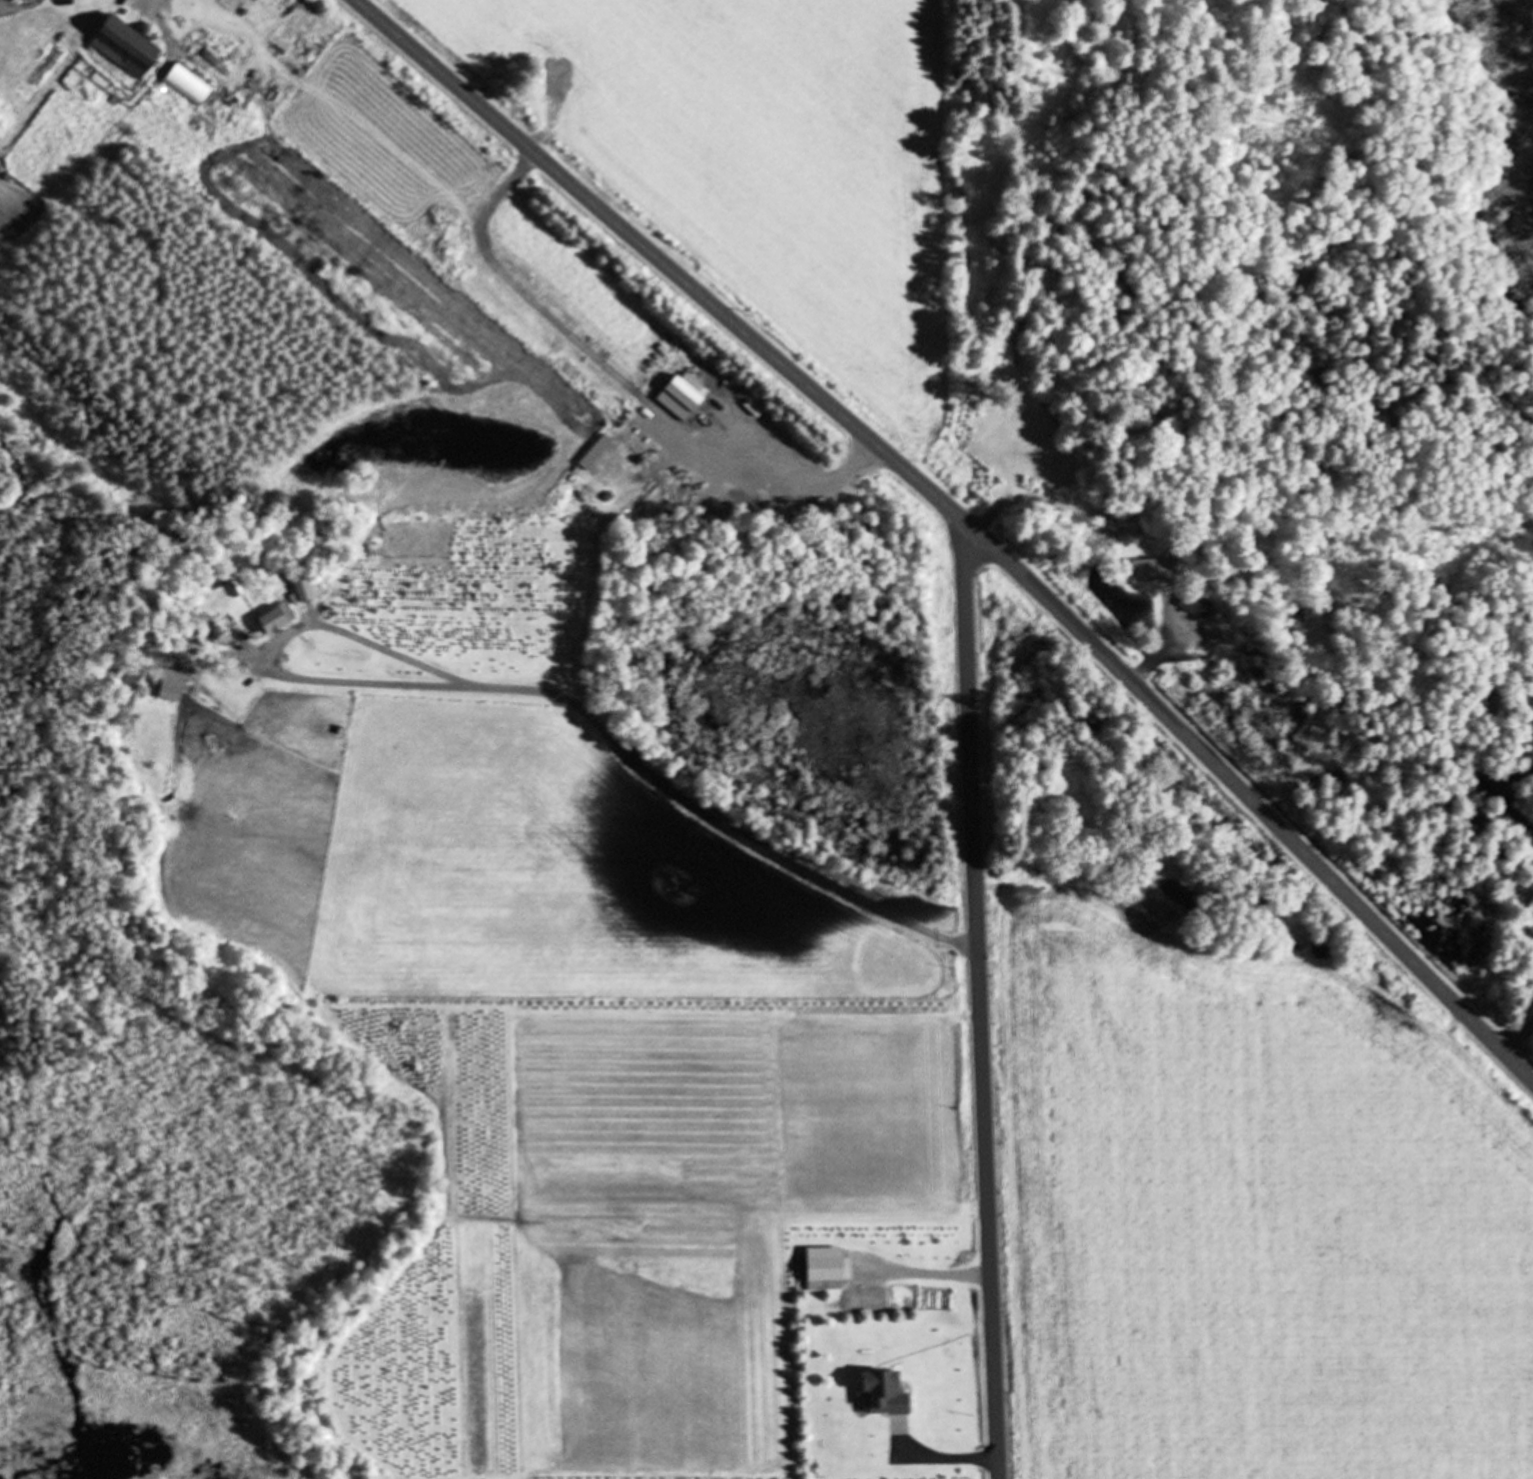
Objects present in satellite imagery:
building: (132, 49)
building: (191, 86)
road: (1038, 501)
road: (964, 521)
building: (1152, 570)
building: (278, 621)
building: (1208, 621)
road: (1149, 662)
road: (632, 758)
road: (979, 998)
road: (1519, 1039)
building: (887, 1395)
road: (947, 1461)

